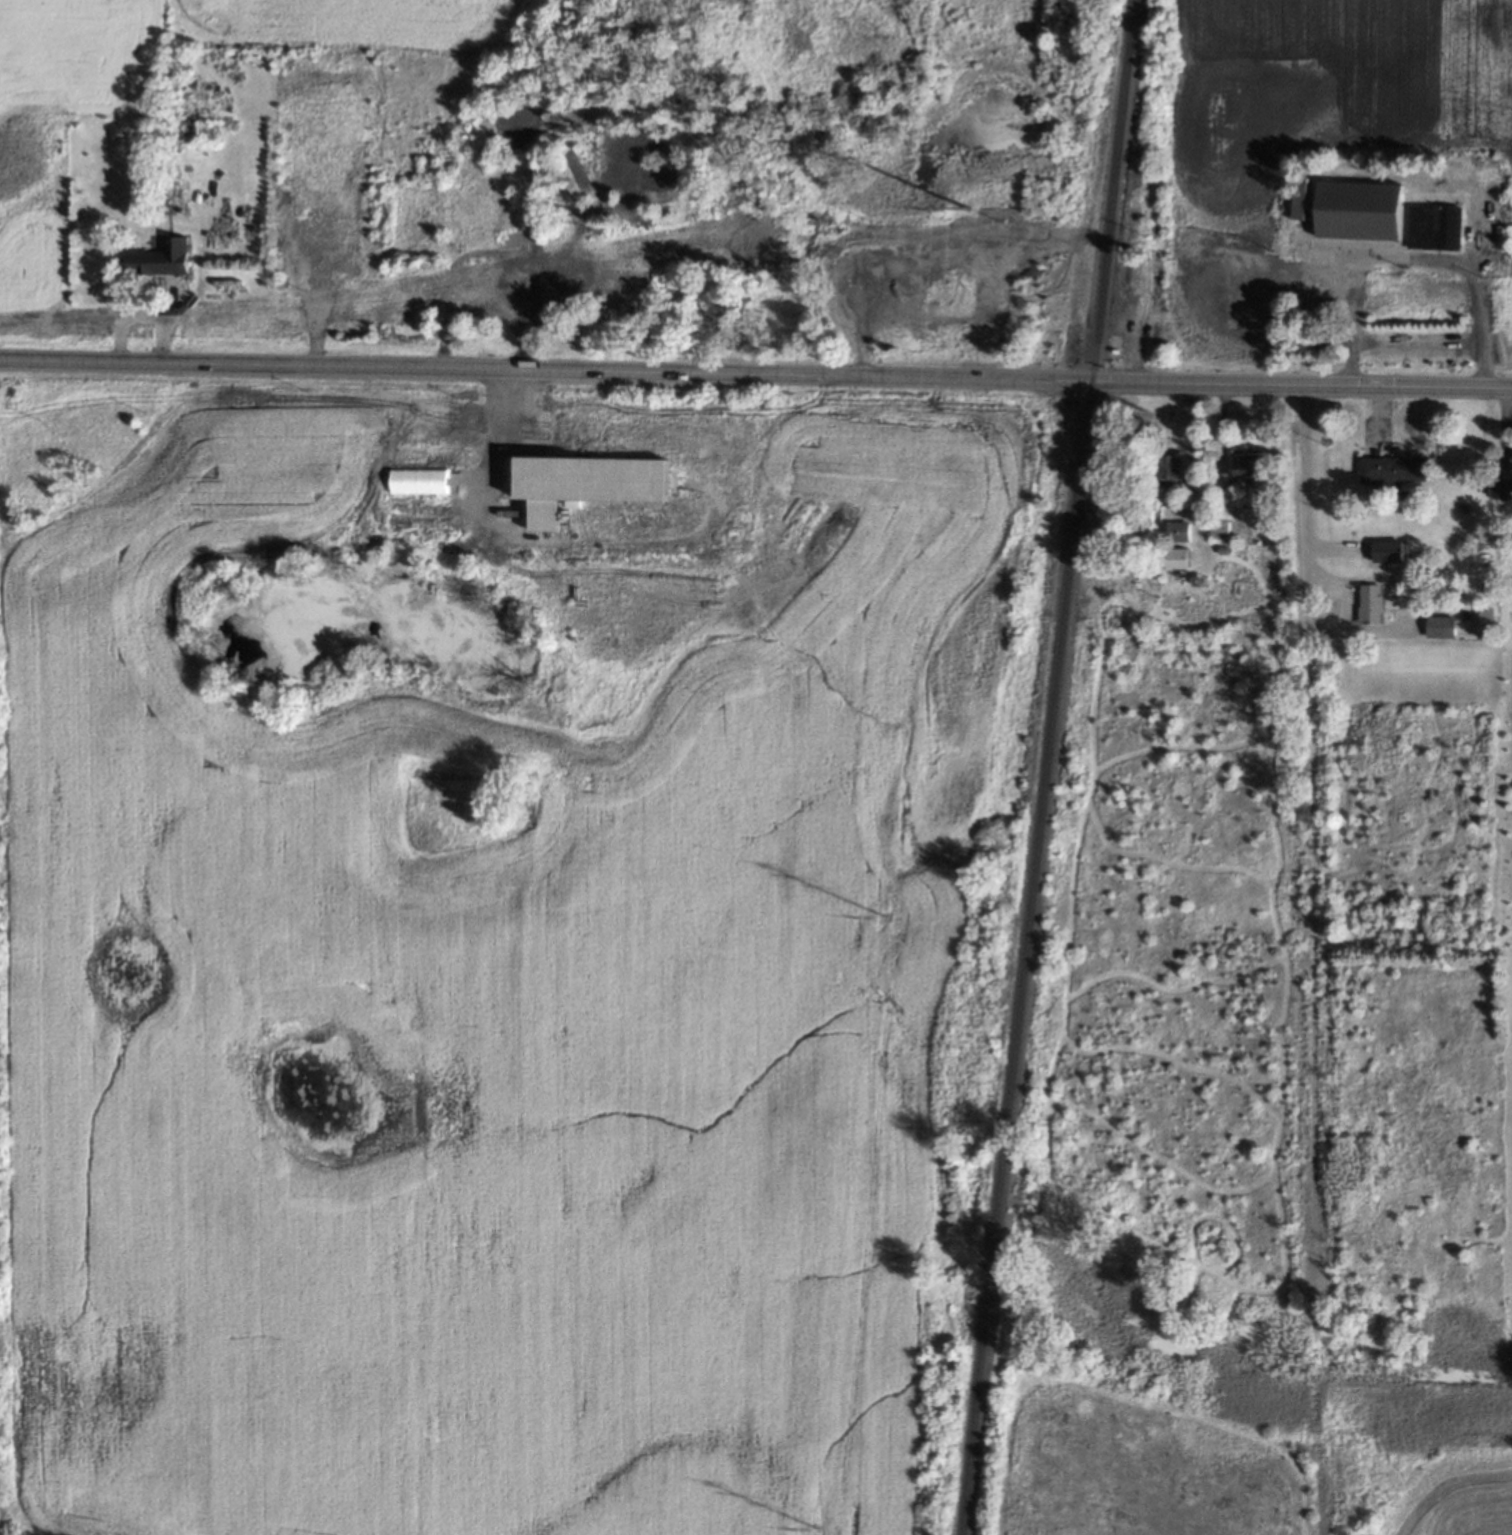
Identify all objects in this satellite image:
building: (505, 118)
building: (588, 126)
road: (538, 128)
crop: (1284, 149)
building: (625, 163)
railway: (1104, 190)
power tower: (969, 197)
building: (1298, 198)
building: (1359, 211)
building: (297, 216)
road: (563, 216)
building: (1435, 226)
building: (511, 236)
building: (1297, 249)
road: (506, 251)
road: (1411, 256)
building: (159, 258)
building: (327, 262)
building: (874, 271)
building: (487, 279)
building: (1318, 290)
road: (481, 304)
crop: (1511, 341)
road: (756, 374)
building: (1511, 456)
building: (1387, 463)
building: (1244, 466)
building: (1166, 469)
building: (419, 480)
building: (588, 484)
building: (1505, 486)
road: (1302, 496)
building: (1215, 523)
building: (1172, 525)
building: (1219, 529)
building: (1220, 550)
building: (1172, 551)
building: (1385, 551)
building: (1483, 583)
building: (1365, 600)
building: (1483, 619)
building: (1438, 627)
power tower: (886, 919)
railway: (1019, 957)
power tower: (815, 1530)

